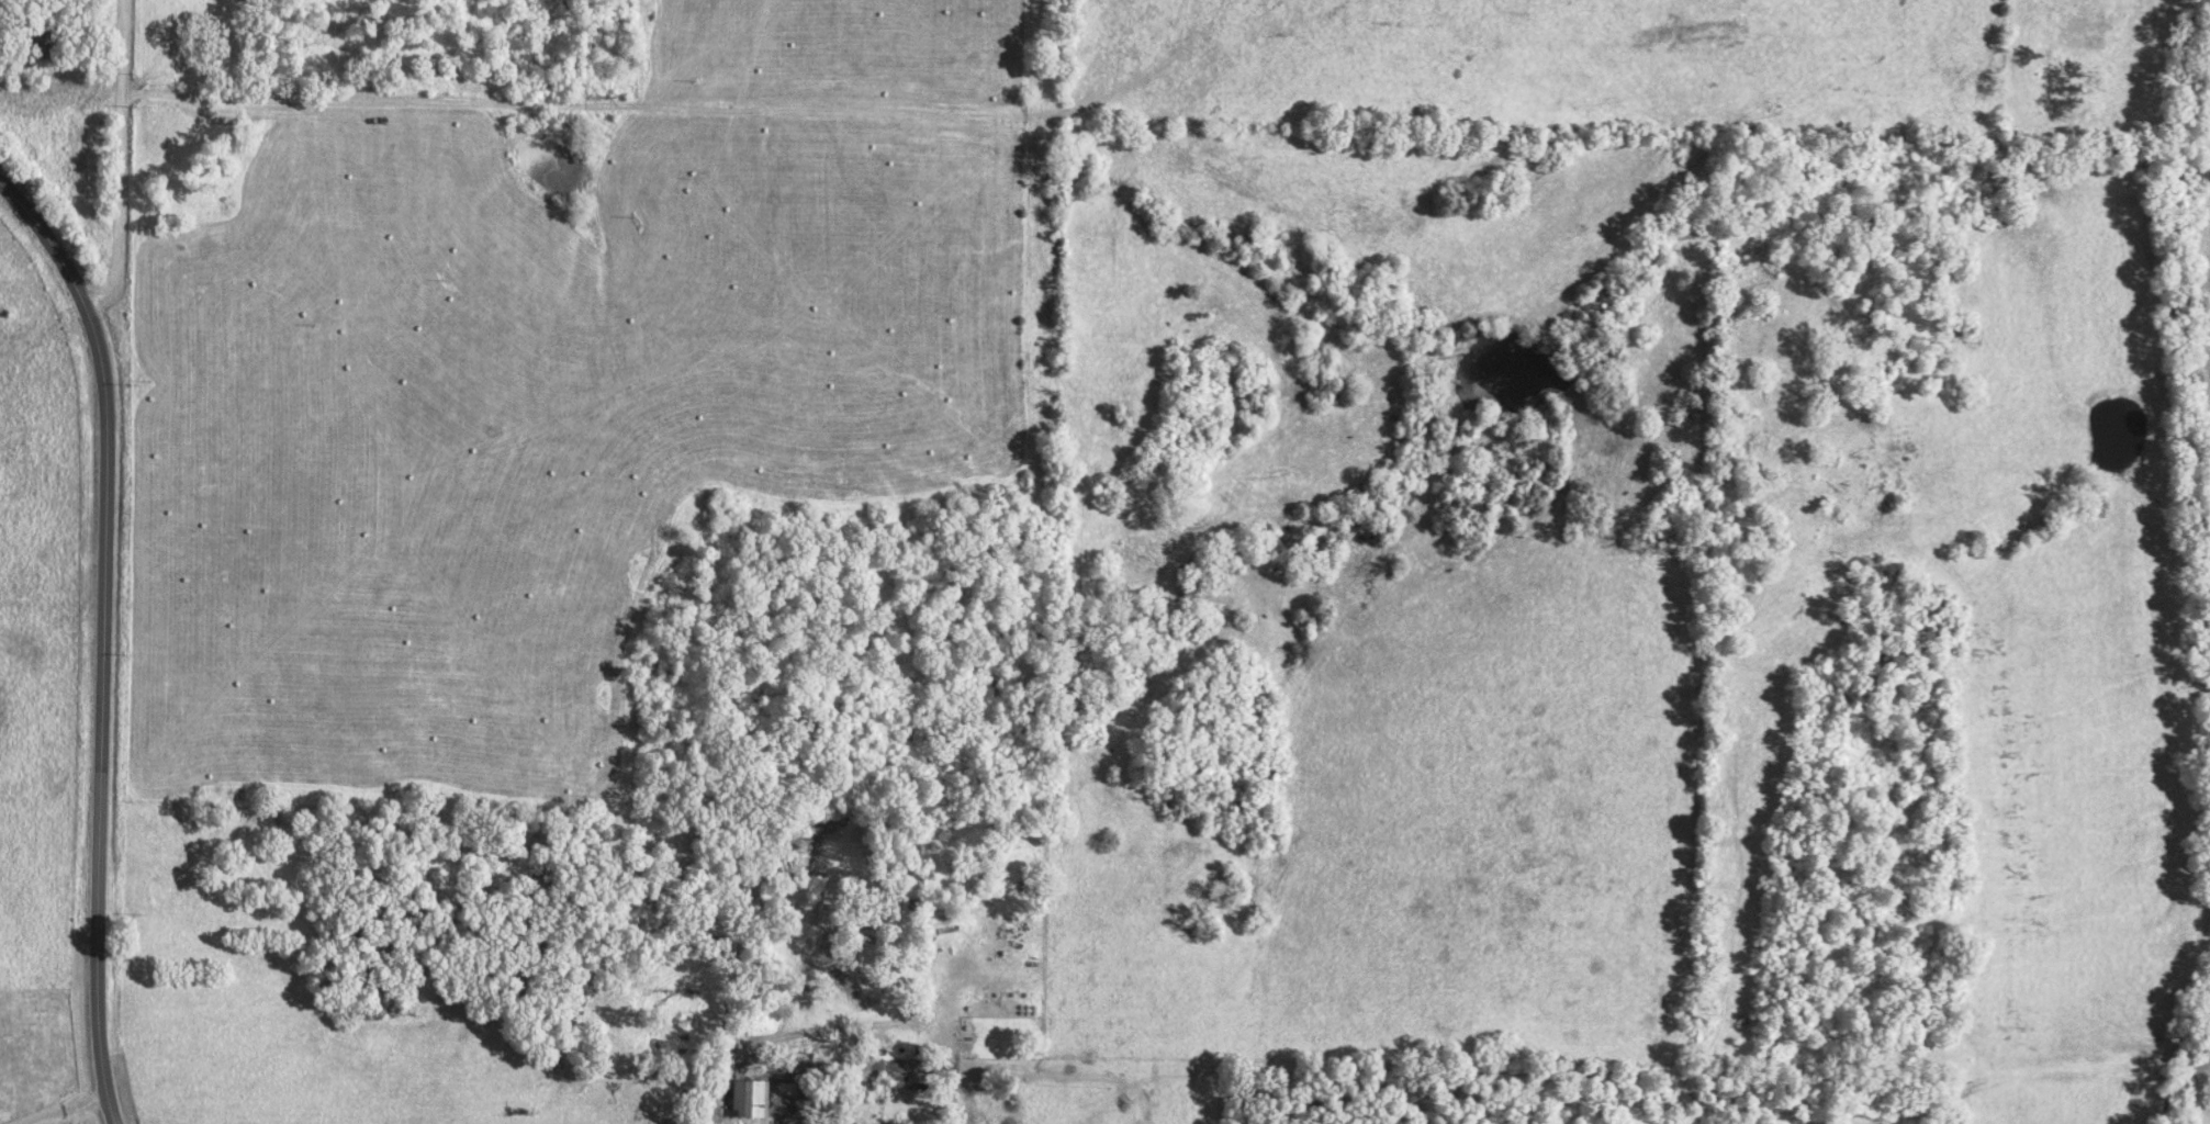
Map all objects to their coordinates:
road: (414, 100)
road: (122, 155)
road: (102, 636)
building: (749, 1099)
road: (61, 1110)

